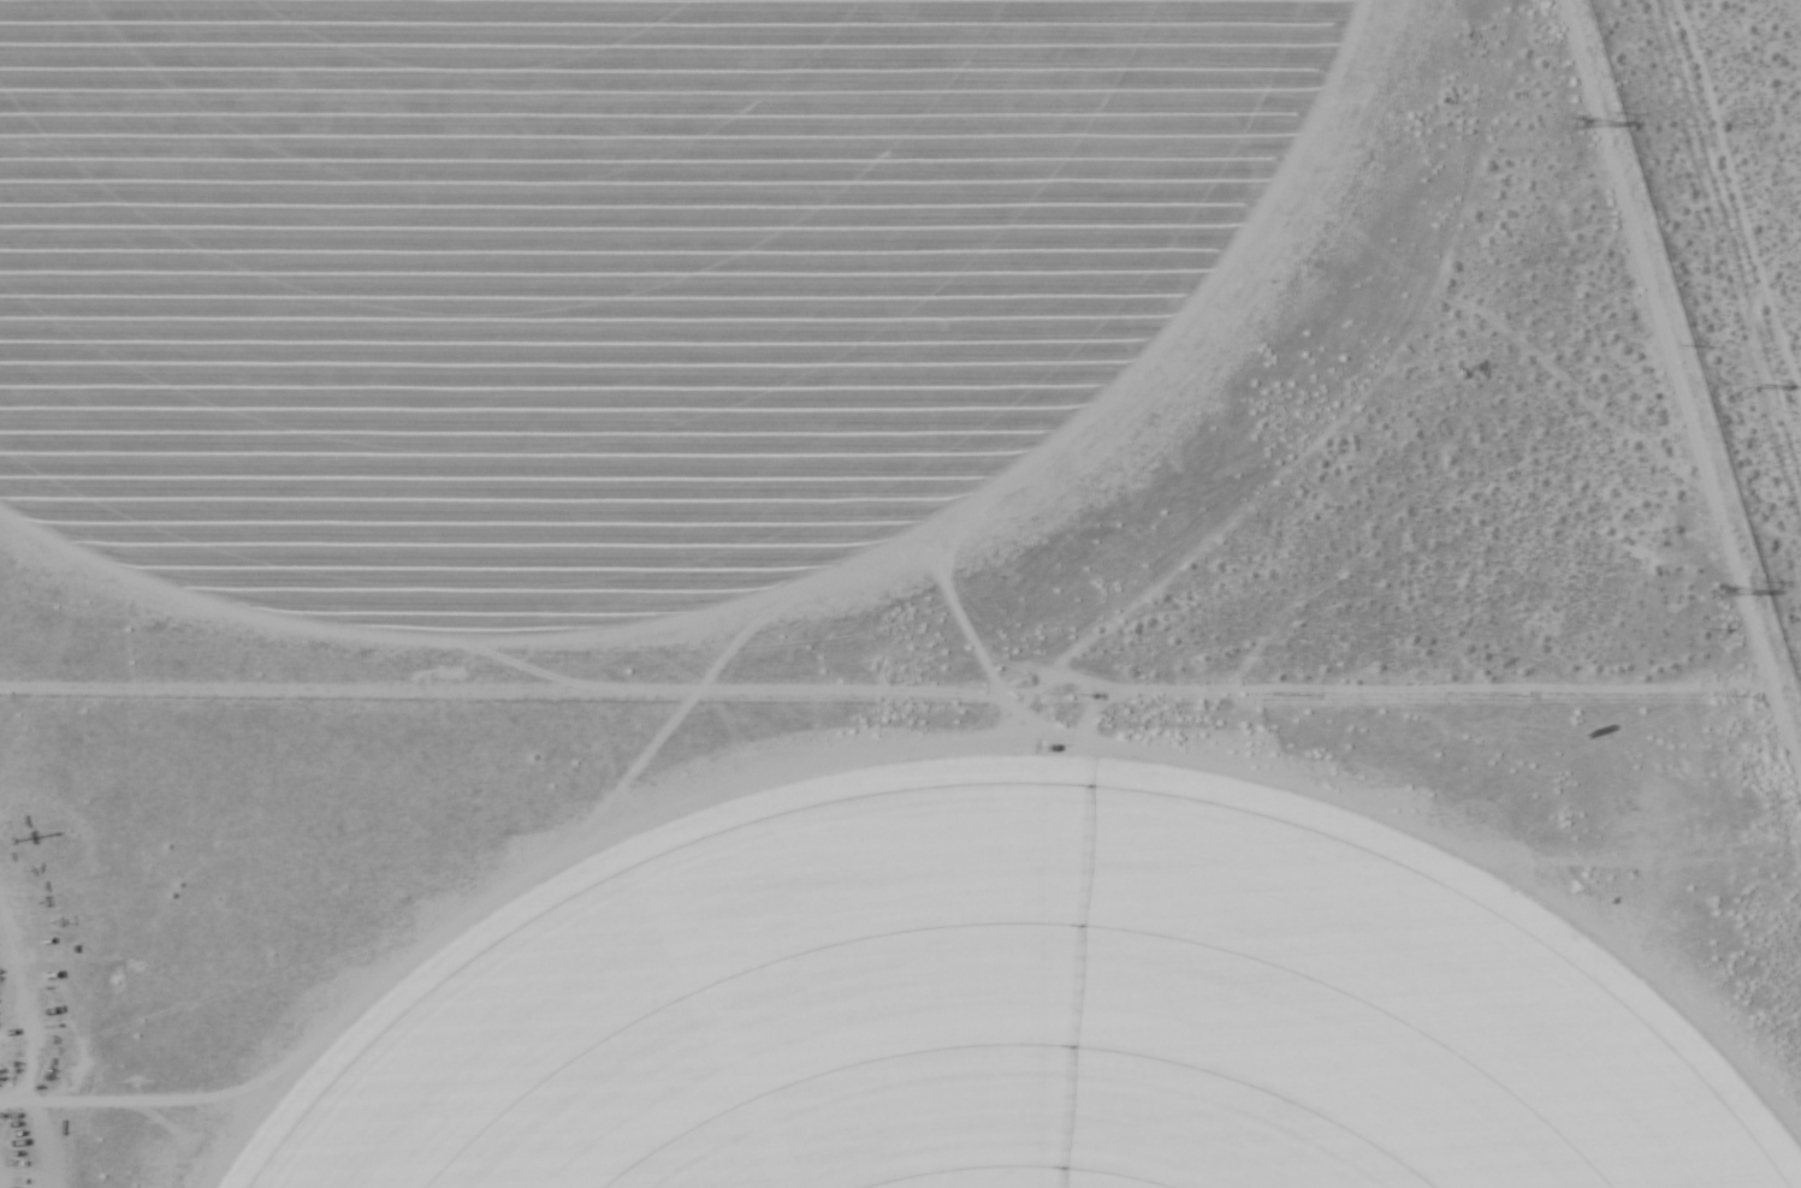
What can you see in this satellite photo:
power tower: (1580, 132)
crop: (581, 279)
power tower: (1754, 380)
power tower: (1717, 593)
crop: (997, 998)

